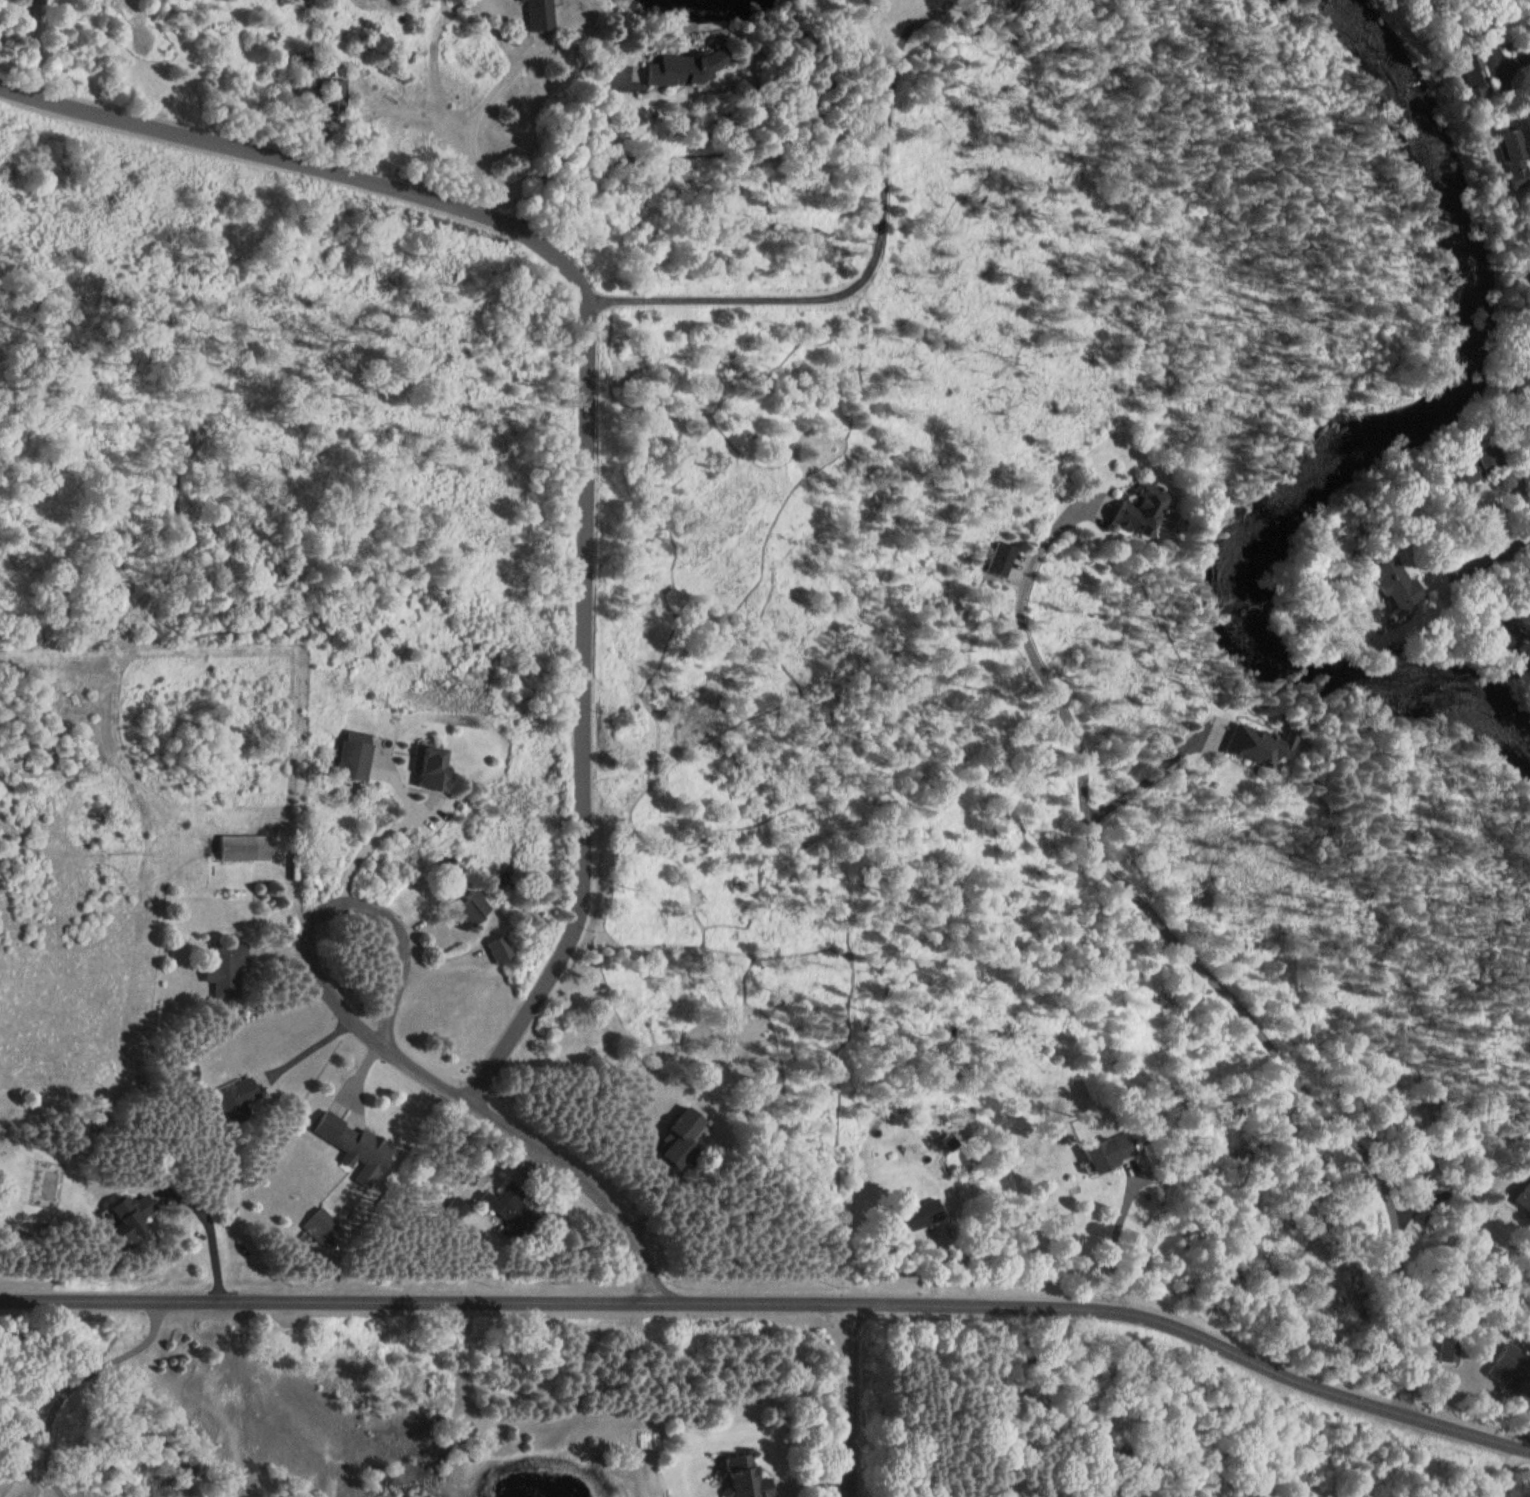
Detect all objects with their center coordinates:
building: (26, 1)
river: (707, 5)
building: (526, 15)
building: (411, 38)
building: (663, 70)
building: (1458, 75)
road: (474, 122)
building: (1497, 158)
building: (1528, 267)
building: (1517, 374)
road: (589, 398)
river: (1350, 455)
building: (1460, 465)
building: (1127, 510)
road: (1496, 550)
building: (993, 560)
building: (1389, 583)
building: (1239, 746)
building: (348, 756)
building: (425, 770)
building: (241, 848)
road: (806, 869)
building: (461, 907)
road: (322, 917)
building: (493, 950)
road: (1197, 954)
building: (225, 972)
building: (183, 1074)
building: (232, 1097)
building: (346, 1141)
road: (543, 1147)
building: (667, 1152)
building: (1091, 1156)
road: (1444, 1194)
building: (1518, 1199)
building: (450, 1212)
building: (508, 1214)
building: (909, 1215)
building: (121, 1221)
building: (315, 1224)
road: (212, 1240)
road: (776, 1300)
building: (1446, 1352)
building: (1504, 1372)
road: (74, 1380)
road: (853, 1399)
building: (738, 1479)

